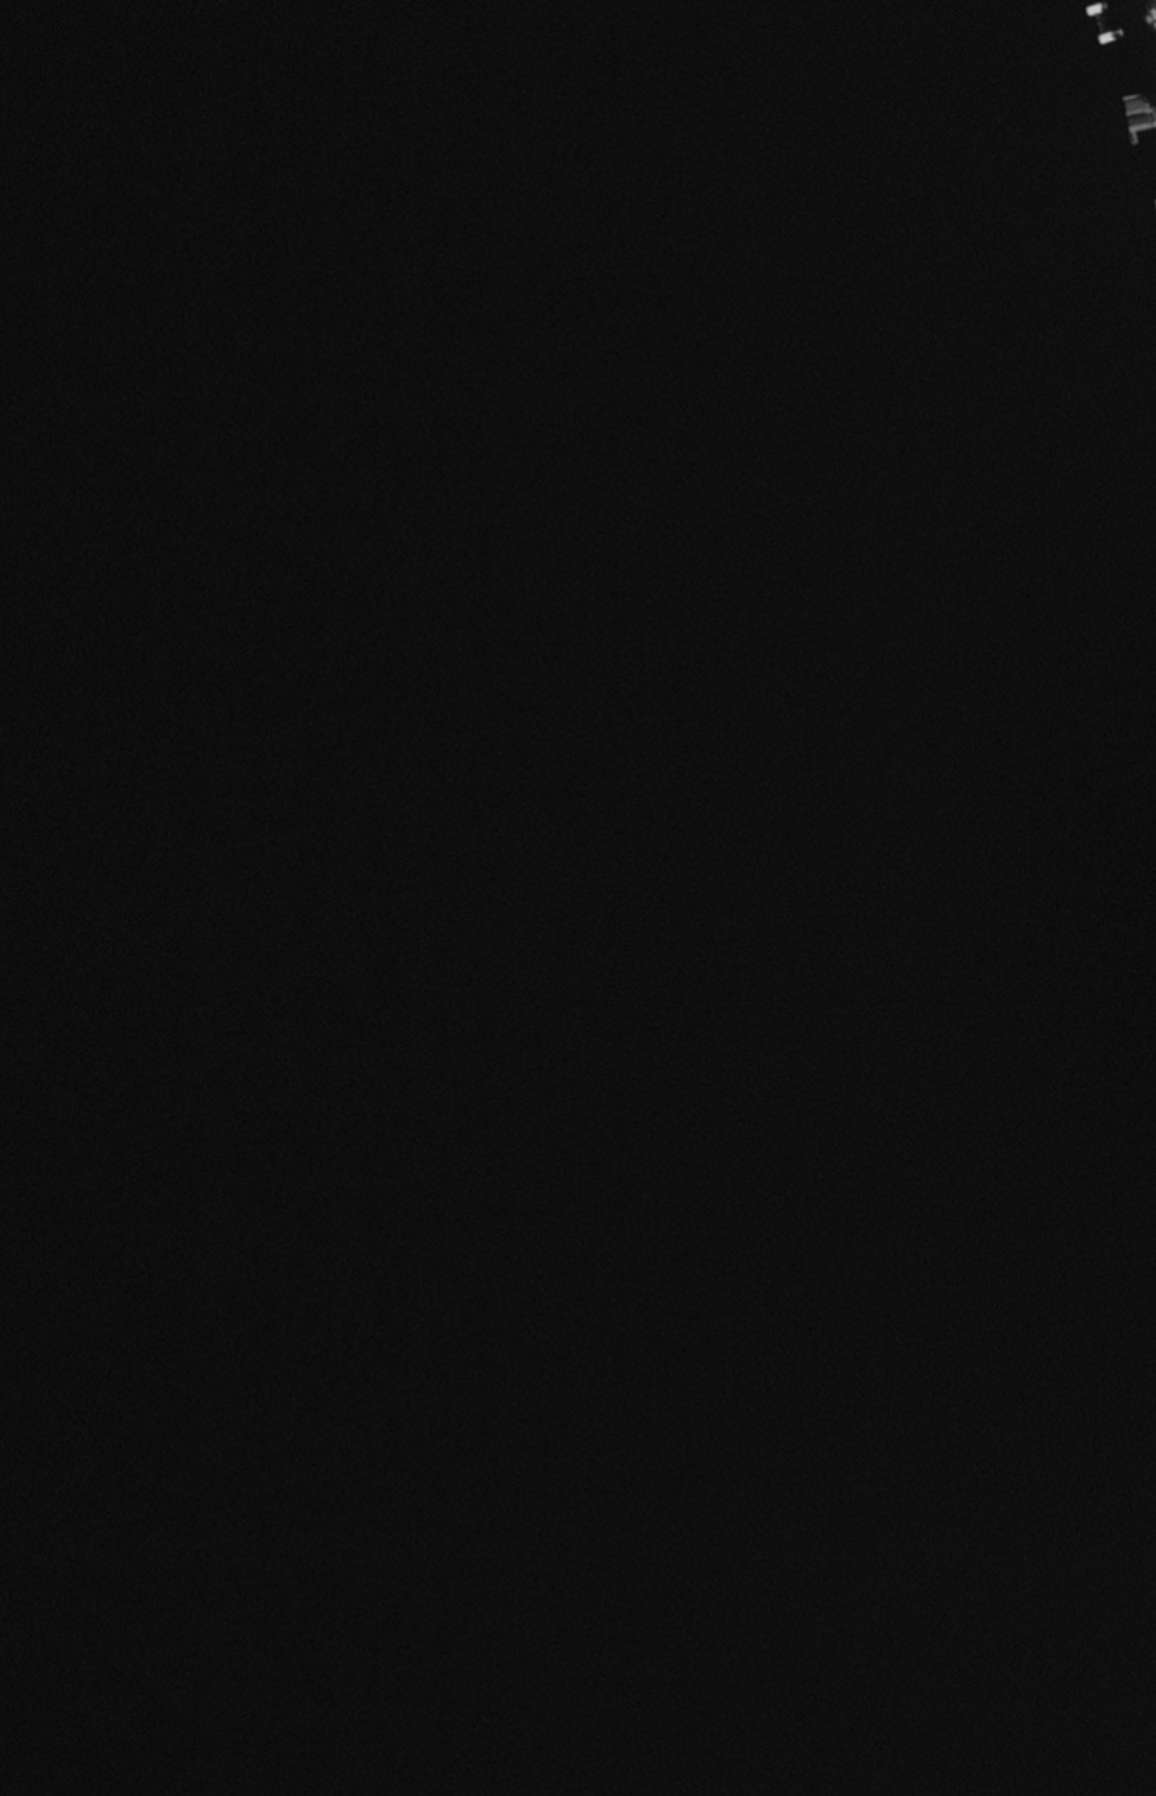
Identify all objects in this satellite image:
river: (501, 1098)
river: (1069, 1542)

